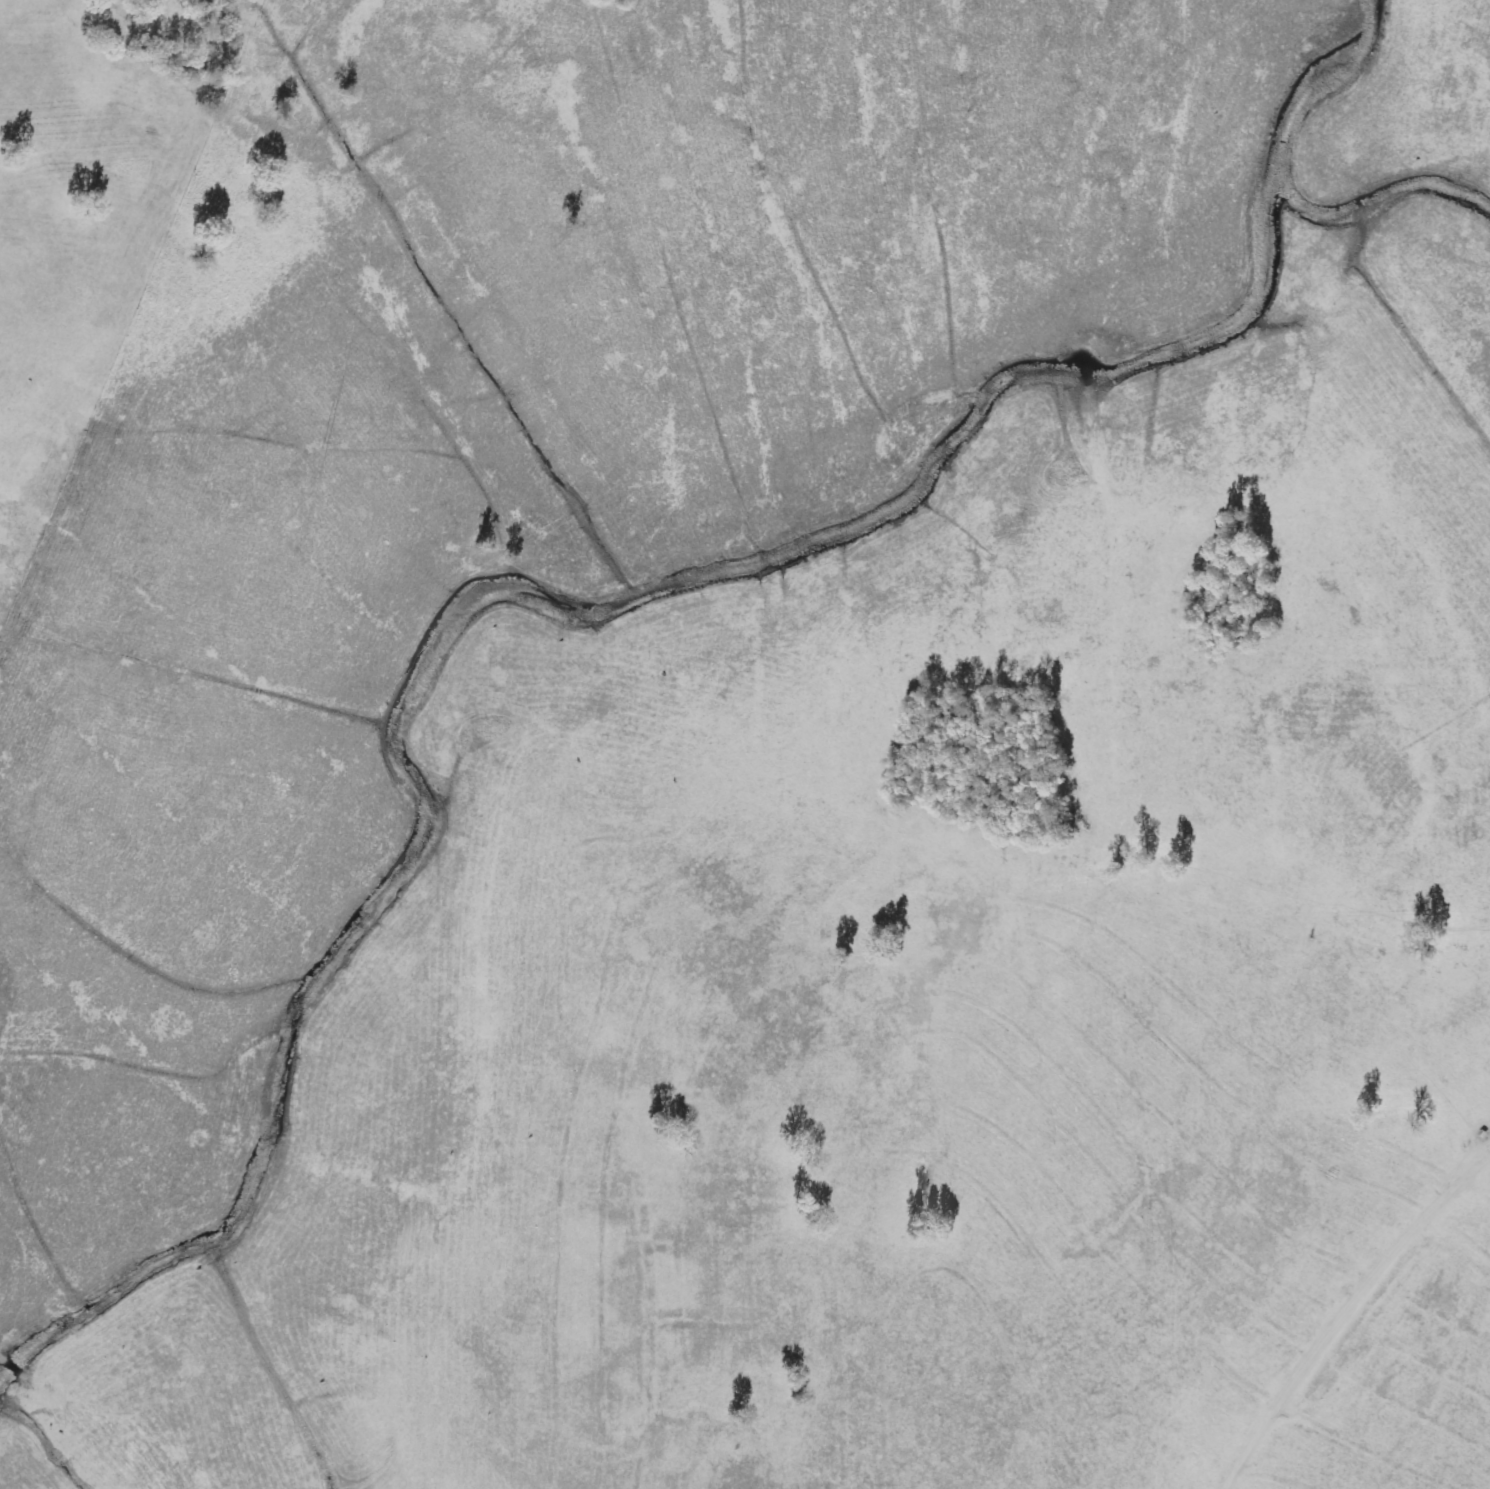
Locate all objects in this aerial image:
road: (1344, 1306)

